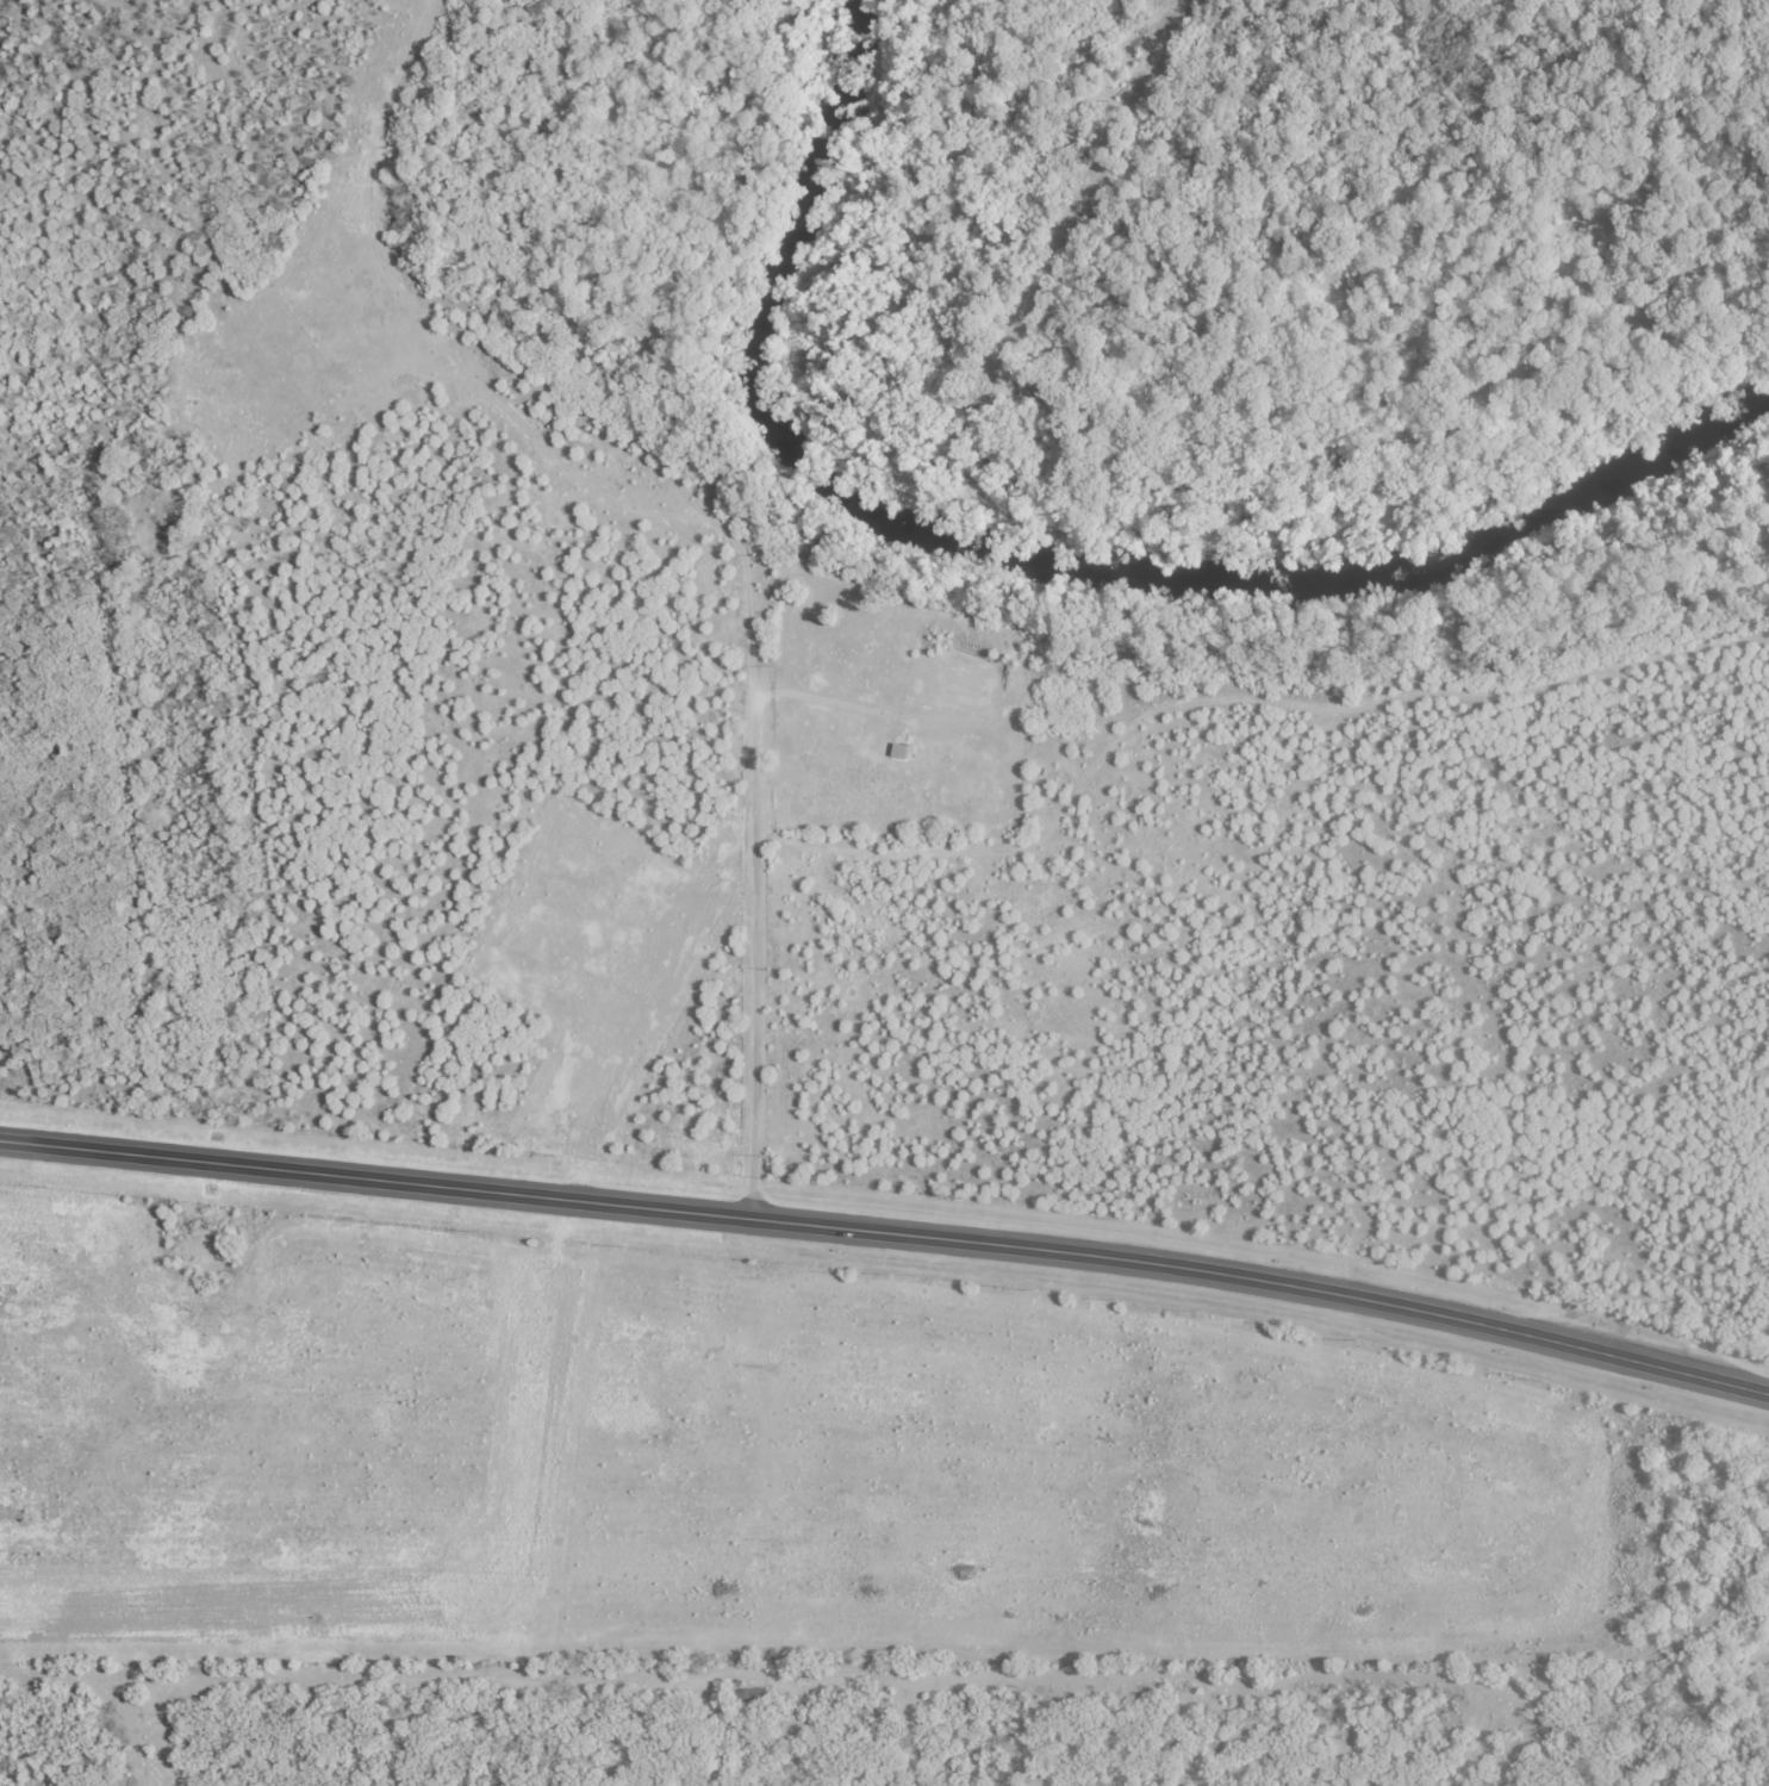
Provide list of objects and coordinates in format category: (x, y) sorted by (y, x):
river: (1046, 560)
road: (890, 1233)
park: (1755, 1653)

